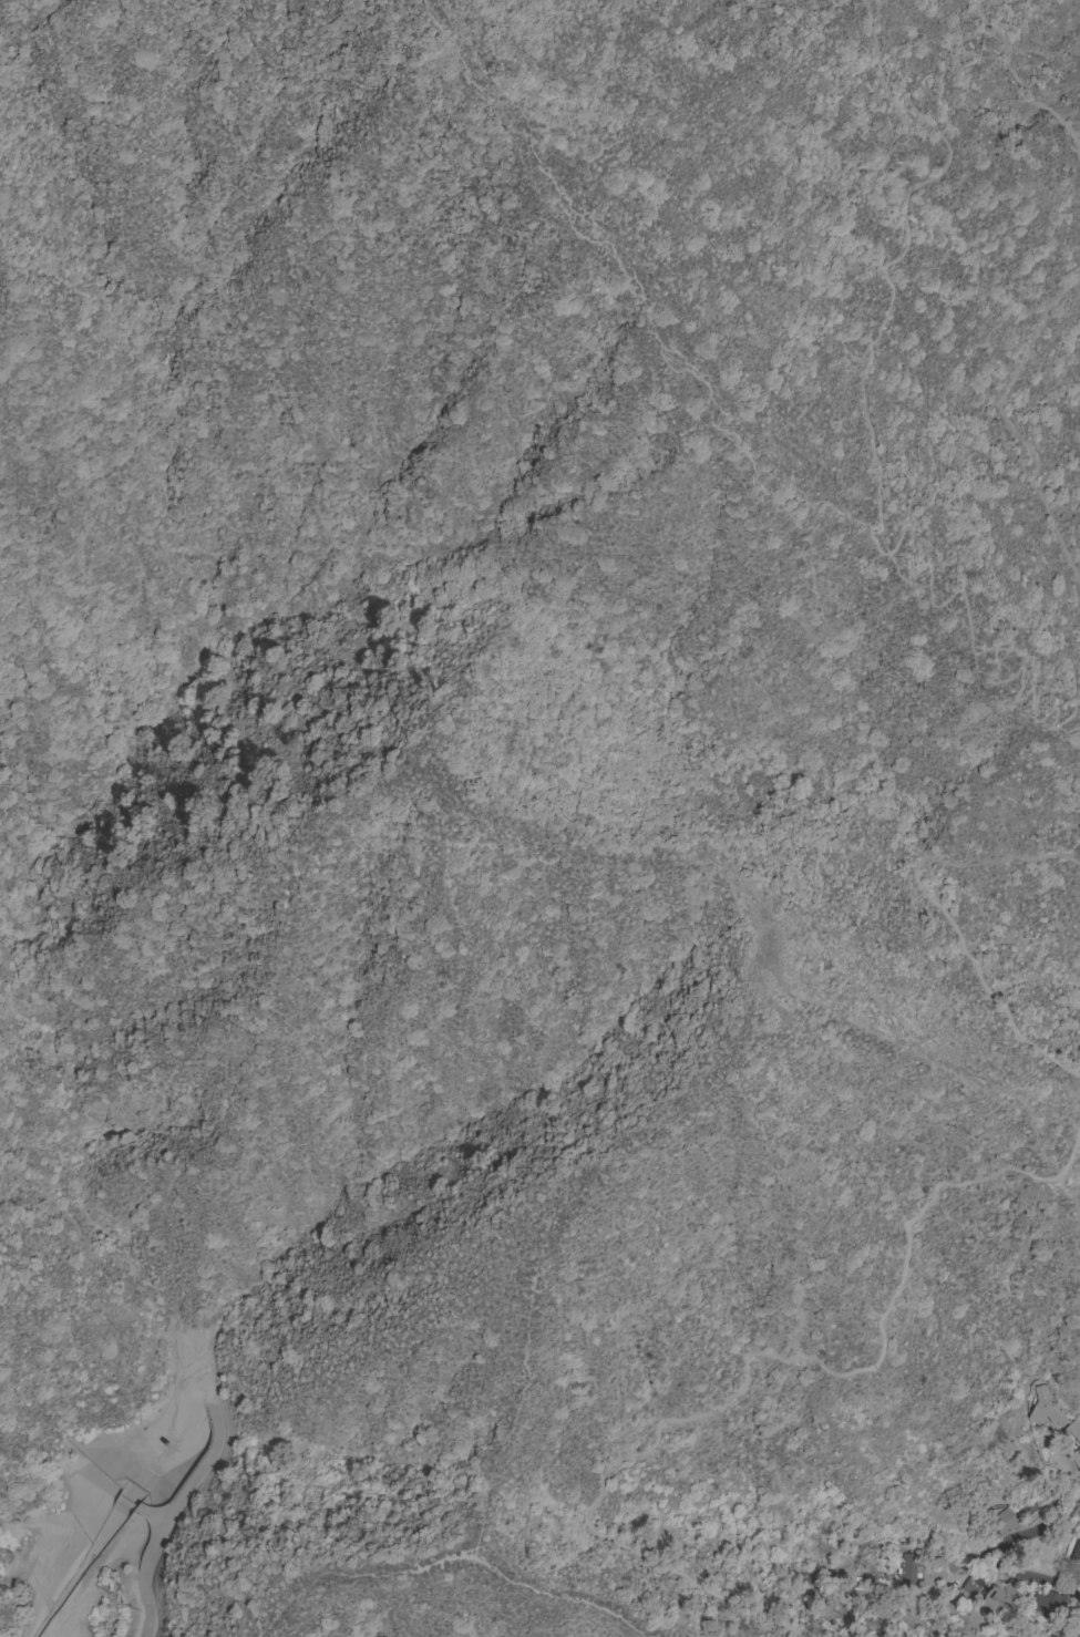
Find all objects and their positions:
road: (1014, 87)
road: (577, 204)
road: (1005, 426)
road: (907, 585)
road: (937, 913)
road: (755, 1356)
building: (1051, 1413)
building: (1079, 1470)
road: (163, 1509)
building: (1010, 1518)
road: (1035, 1531)
building: (1076, 1556)
building: (908, 1572)
road: (1038, 1579)
building: (971, 1586)
building: (991, 1600)
building: (1045, 1604)
road: (825, 1635)
building: (1078, 1636)

